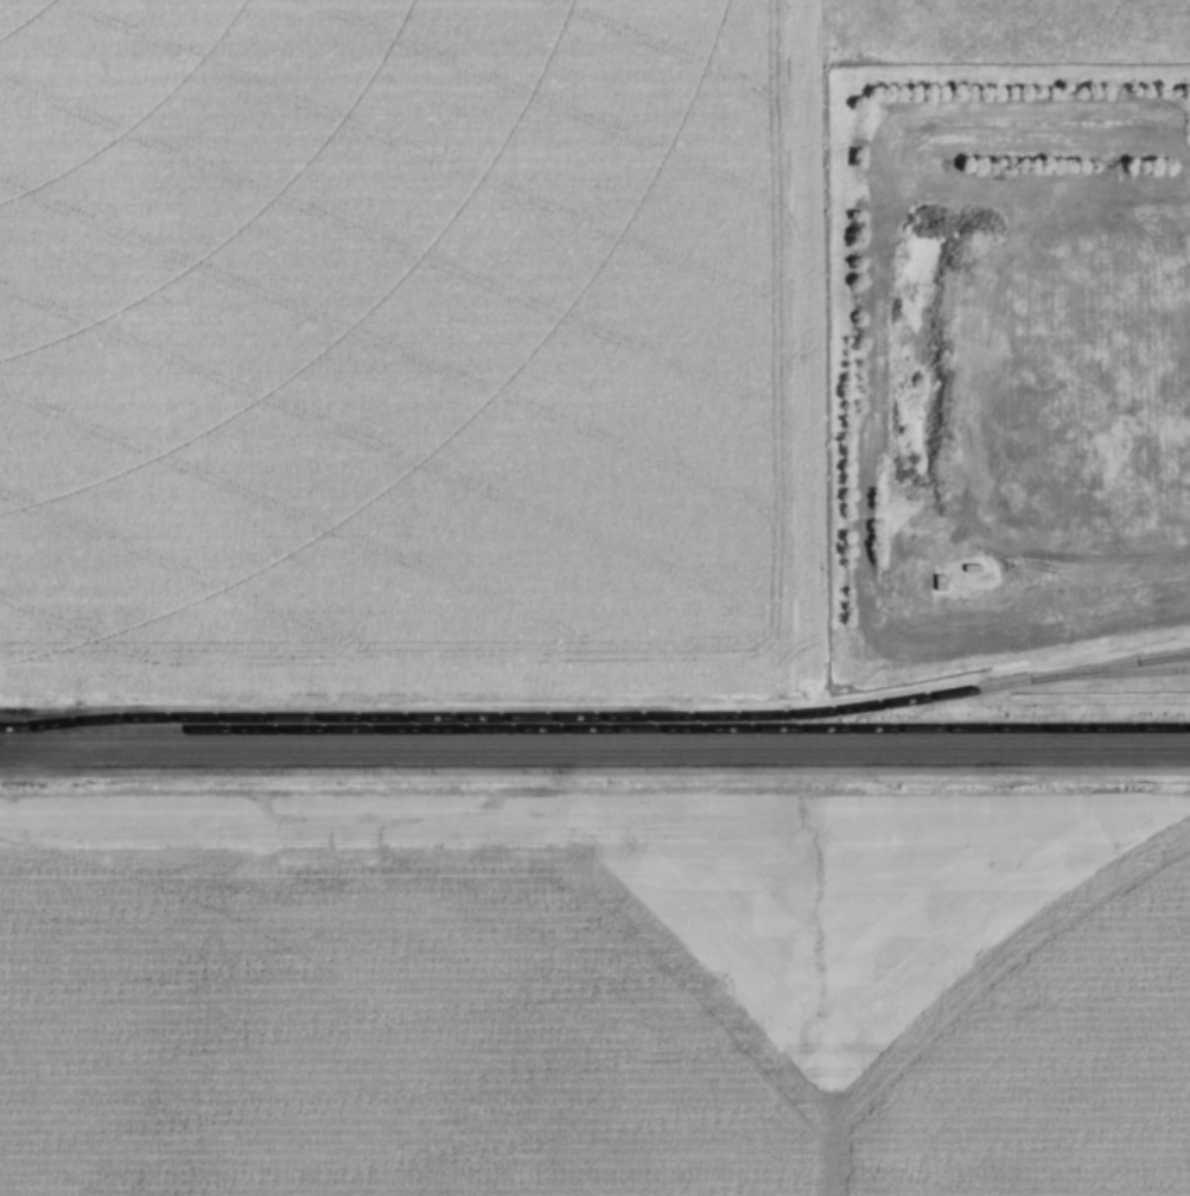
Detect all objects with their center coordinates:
building: (938, 584)
railway: (1170, 660)
railway: (1116, 674)
railway: (597, 718)
railway: (594, 730)
railway: (594, 743)
railway: (594, 755)

